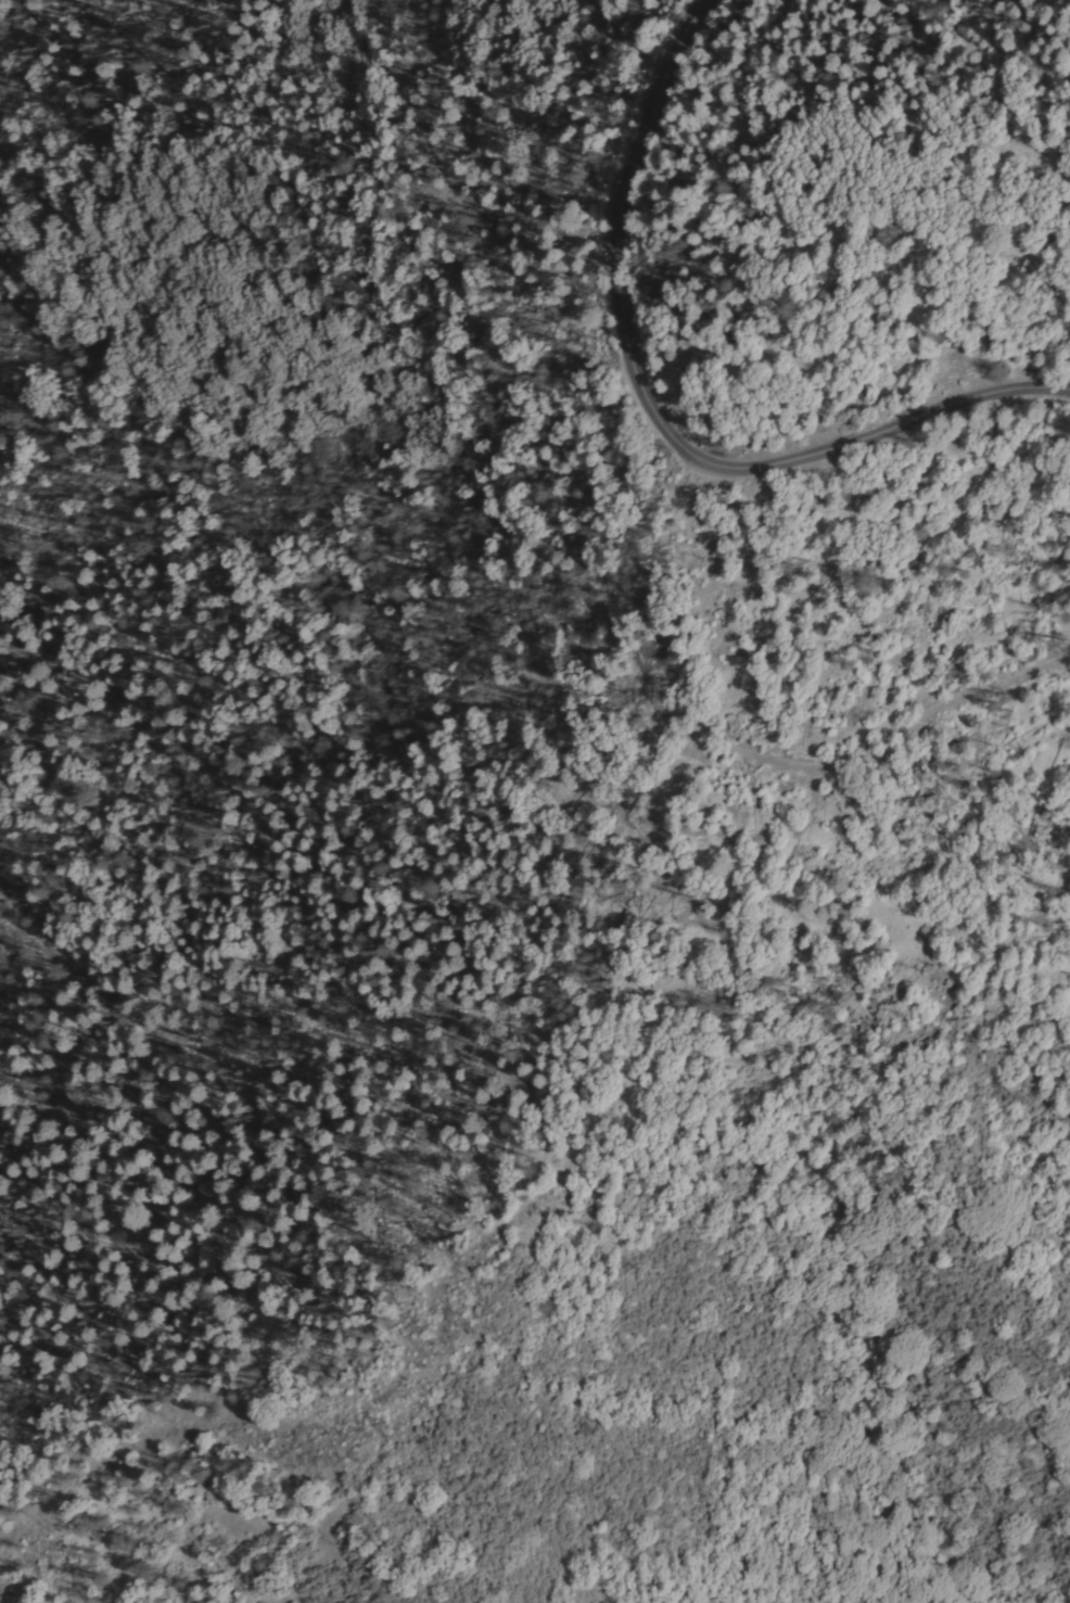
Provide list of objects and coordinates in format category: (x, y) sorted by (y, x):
road: (659, 417)
road: (649, 704)

